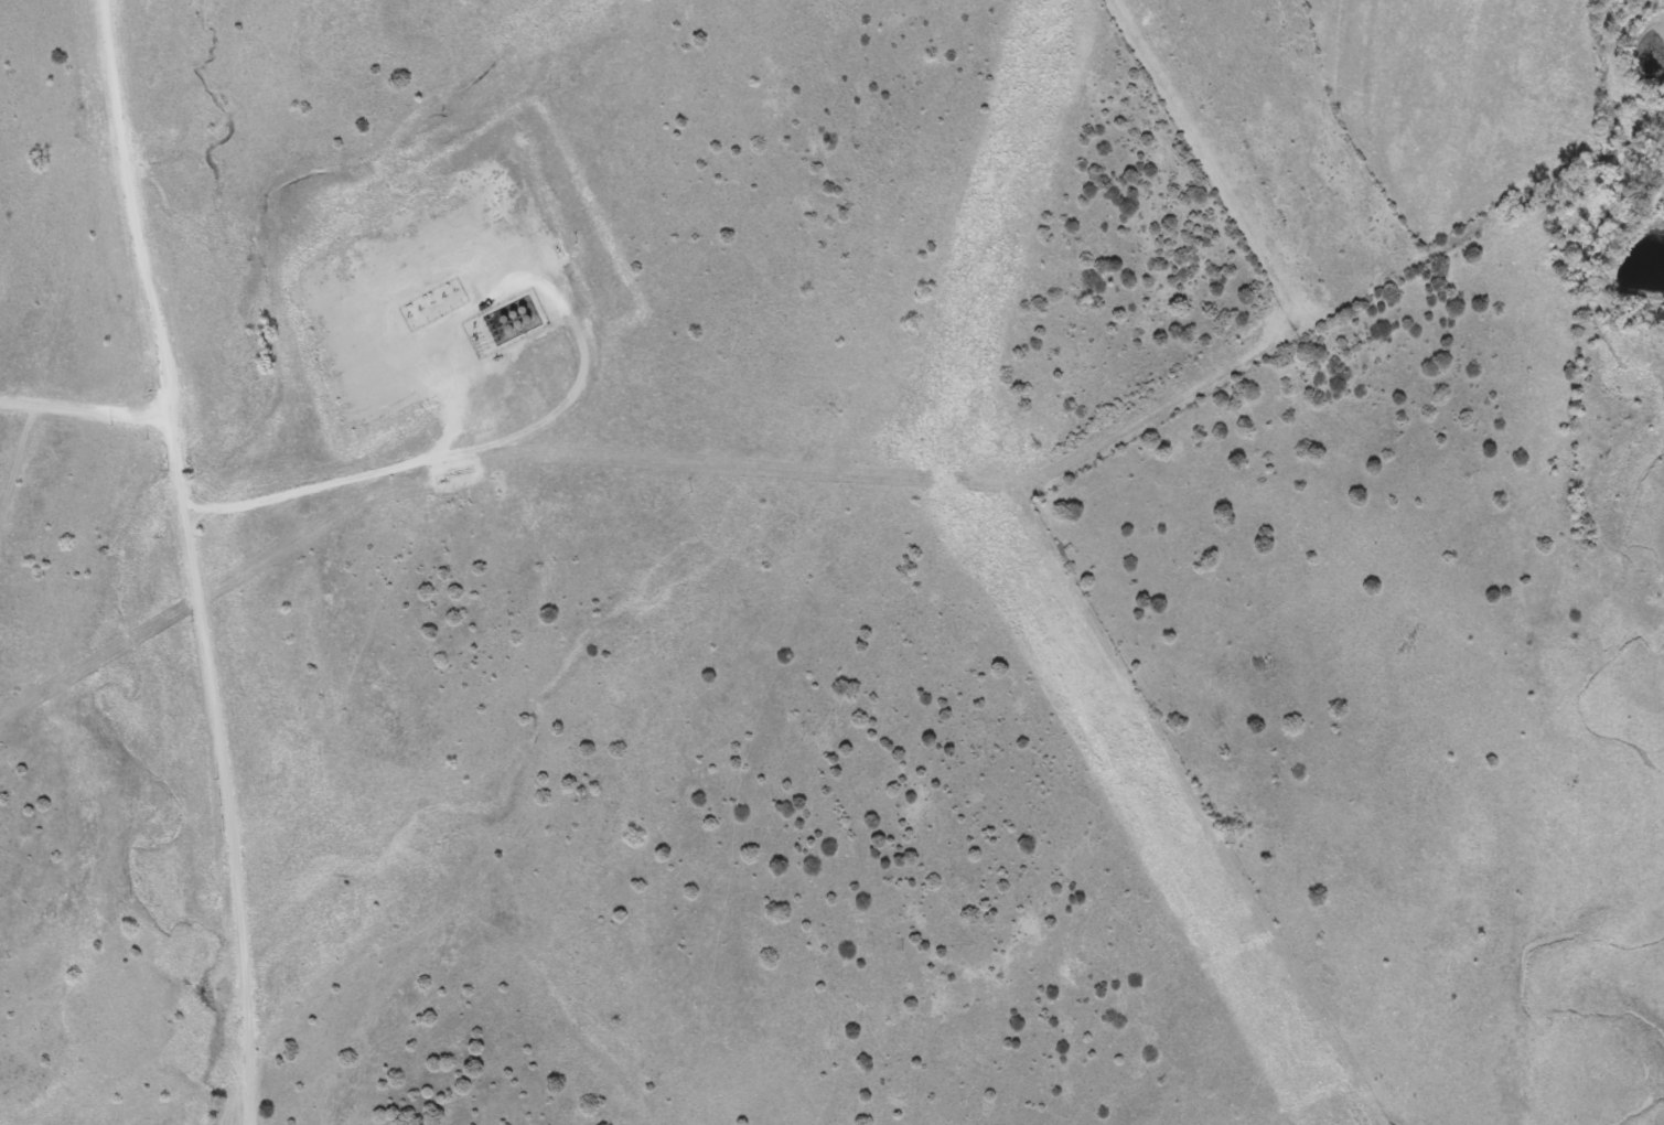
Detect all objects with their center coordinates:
road: (132, 210)
road: (83, 414)
road: (406, 465)
road: (219, 770)

